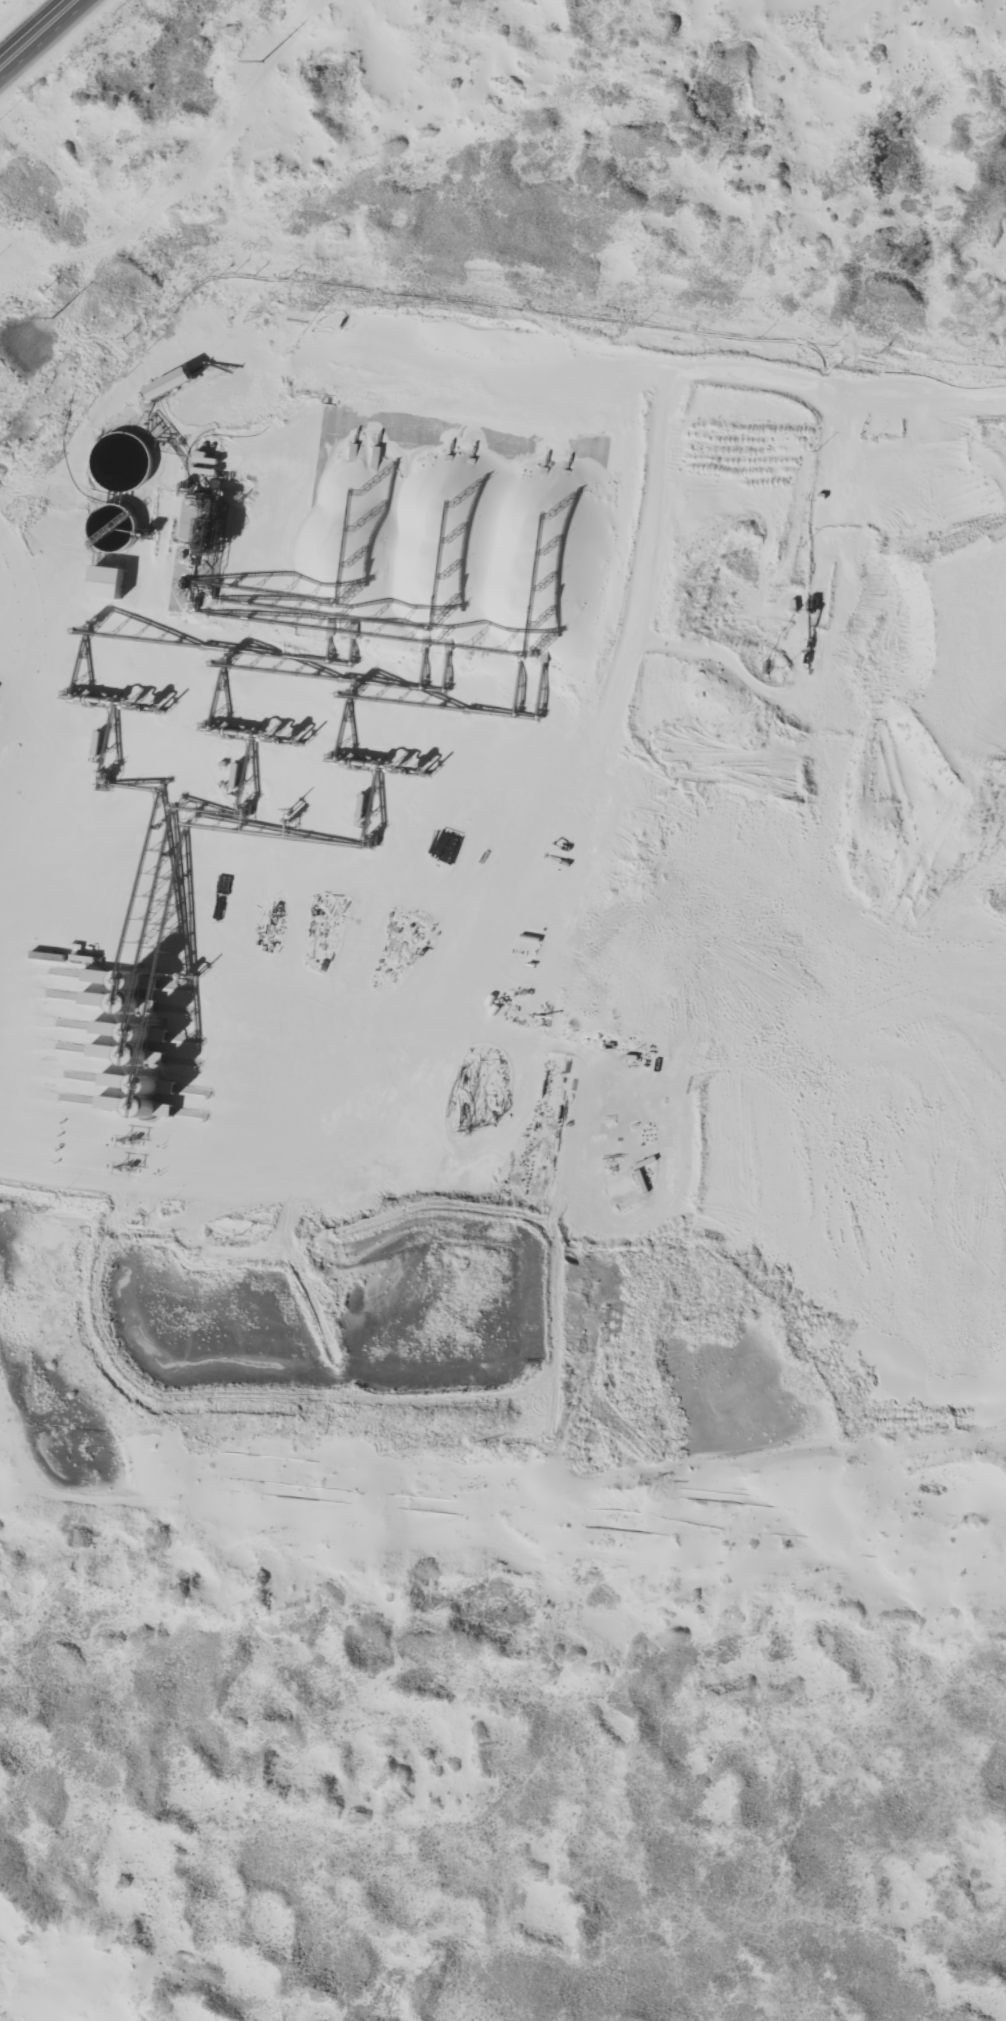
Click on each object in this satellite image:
road: (42, 38)
power tower: (276, 72)
power tower: (67, 330)
building: (172, 377)
building: (201, 455)
building: (121, 459)
building: (206, 469)
building: (114, 526)
building: (109, 579)

